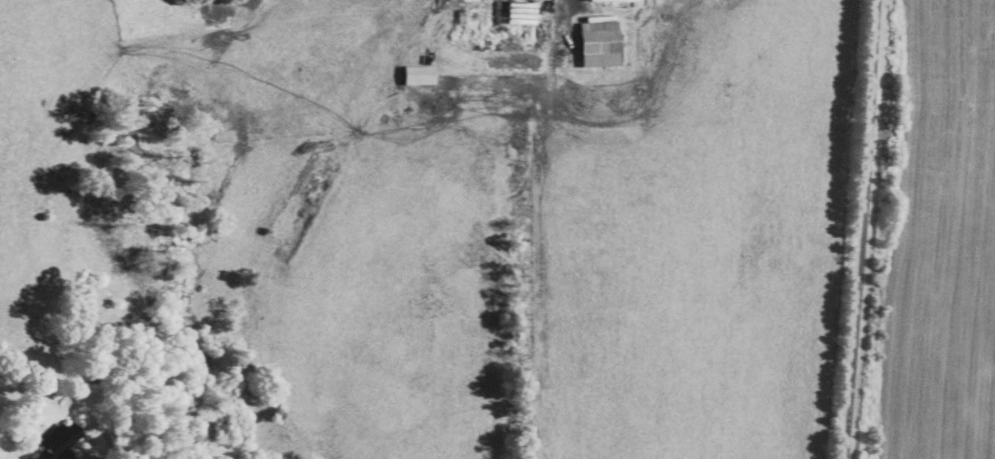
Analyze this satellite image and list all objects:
building: (620, 0)
building: (523, 13)
building: (602, 43)
road: (861, 229)

